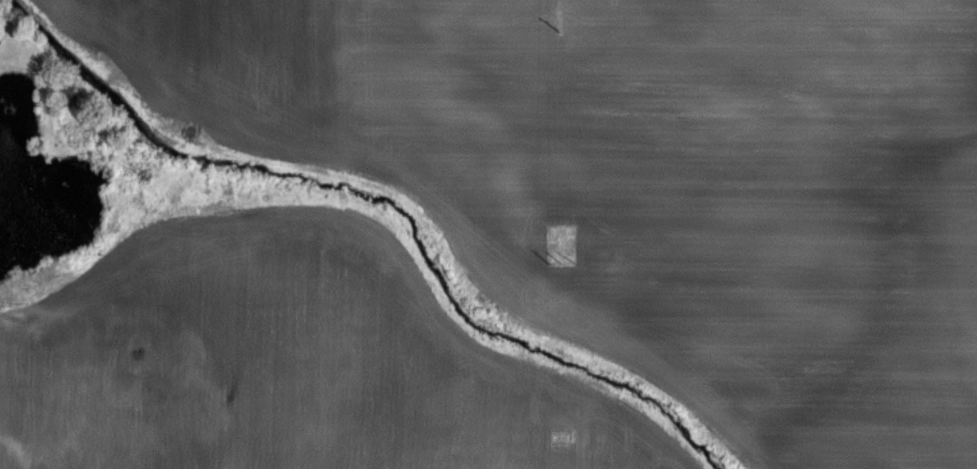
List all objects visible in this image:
building: (0, 43)
building: (38, 360)
building: (127, 360)
building: (128, 418)
building: (24, 420)
building: (39, 467)

